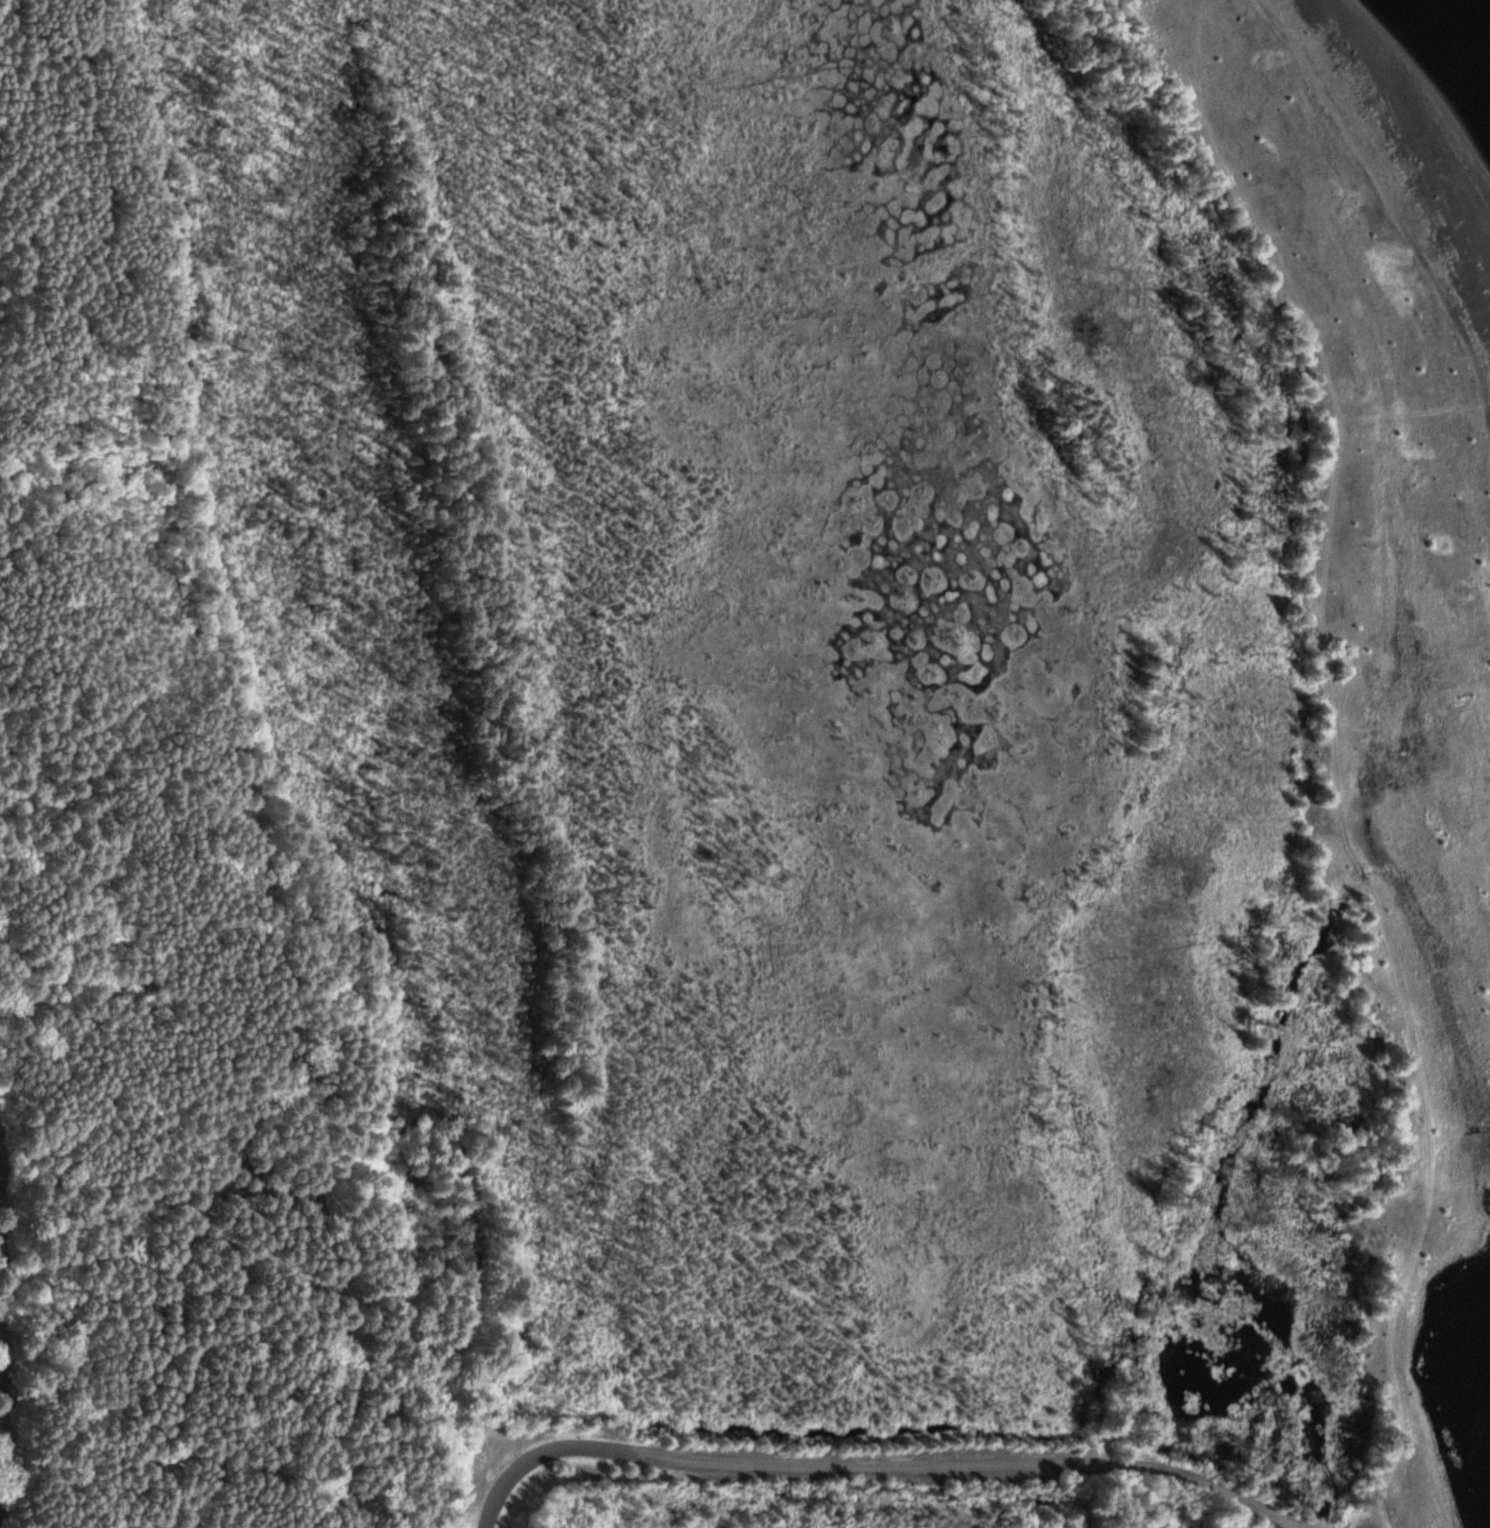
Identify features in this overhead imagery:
road: (1, 1276)
park: (9, 1323)
road: (4, 1384)
road: (3, 1431)
road: (1364, 1432)
road: (878, 1458)

